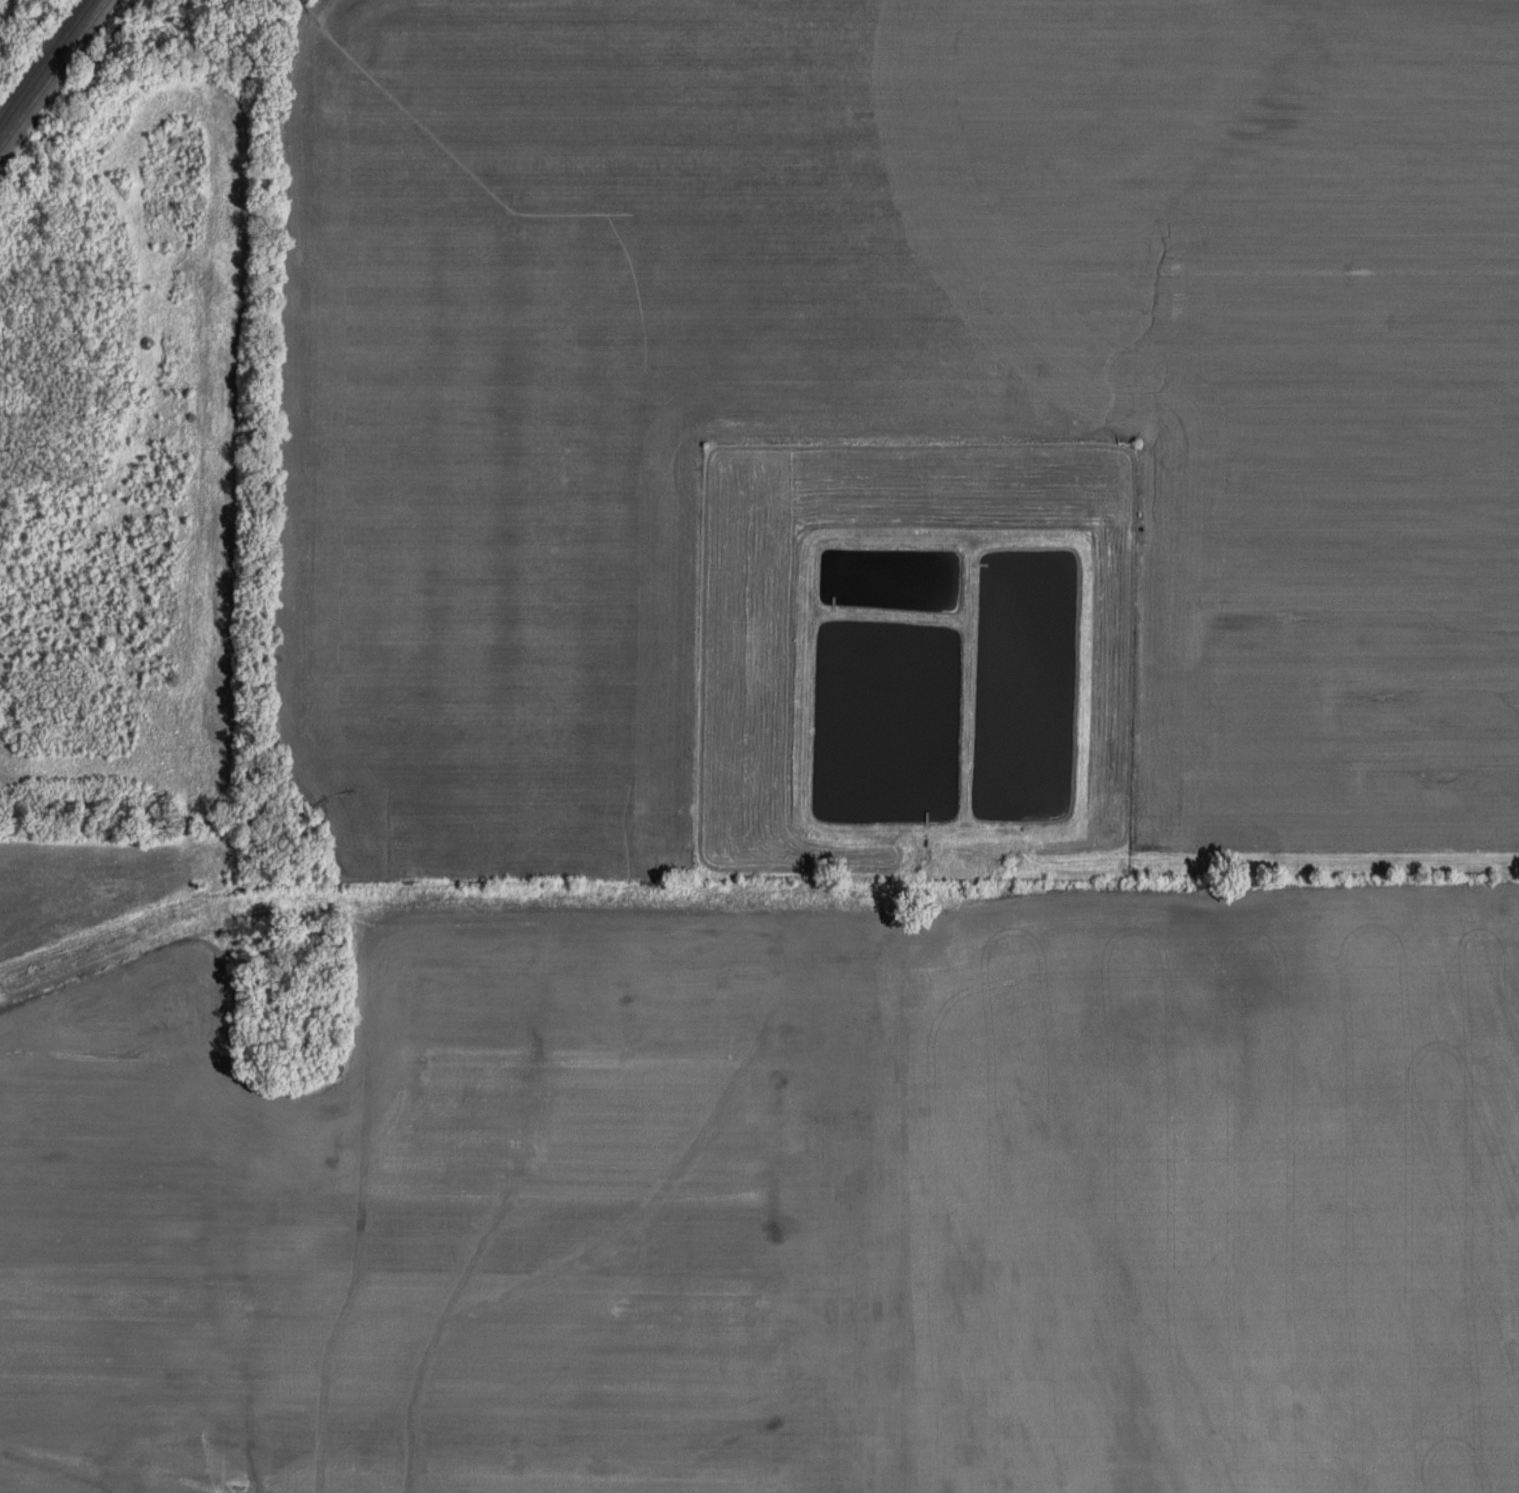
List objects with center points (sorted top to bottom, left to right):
railway: (45, 62)
railway: (52, 72)

